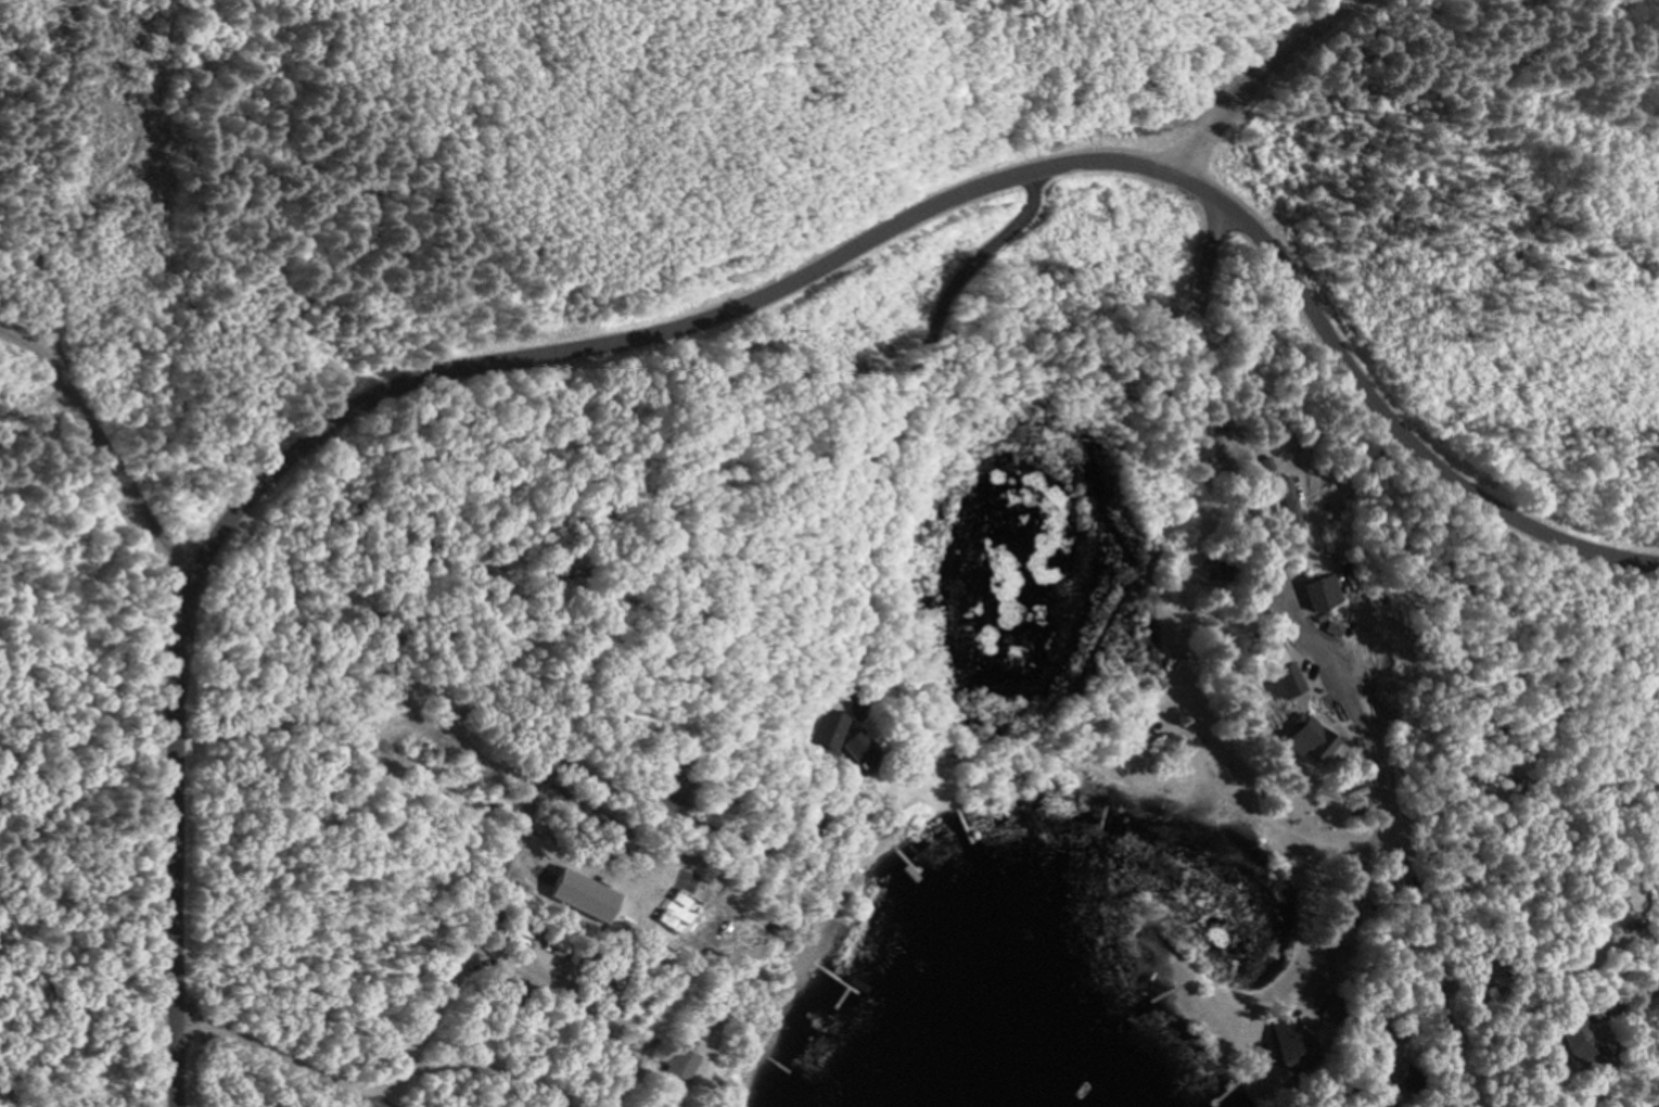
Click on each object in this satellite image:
road: (1255, 75)
road: (1195, 193)
road: (392, 380)
road: (1403, 438)
road: (97, 448)
building: (1251, 462)
building: (1287, 494)
building: (1275, 501)
building: (1215, 565)
building: (553, 570)
building: (1342, 578)
building: (1312, 591)
road: (1285, 622)
building: (1324, 627)
building: (1267, 672)
building: (1149, 682)
building: (814, 726)
building: (1199, 731)
building: (1297, 737)
building: (845, 749)
building: (1468, 779)
building: (665, 780)
building: (710, 789)
building: (1345, 790)
building: (794, 815)
building: (944, 819)
building: (896, 865)
building: (923, 896)
building: (761, 925)
building: (1333, 959)
building: (634, 979)
building: (1472, 992)
building: (1562, 1039)
building: (669, 1065)
building: (1390, 1077)
road: (1644, 1091)
building: (1347, 1105)

